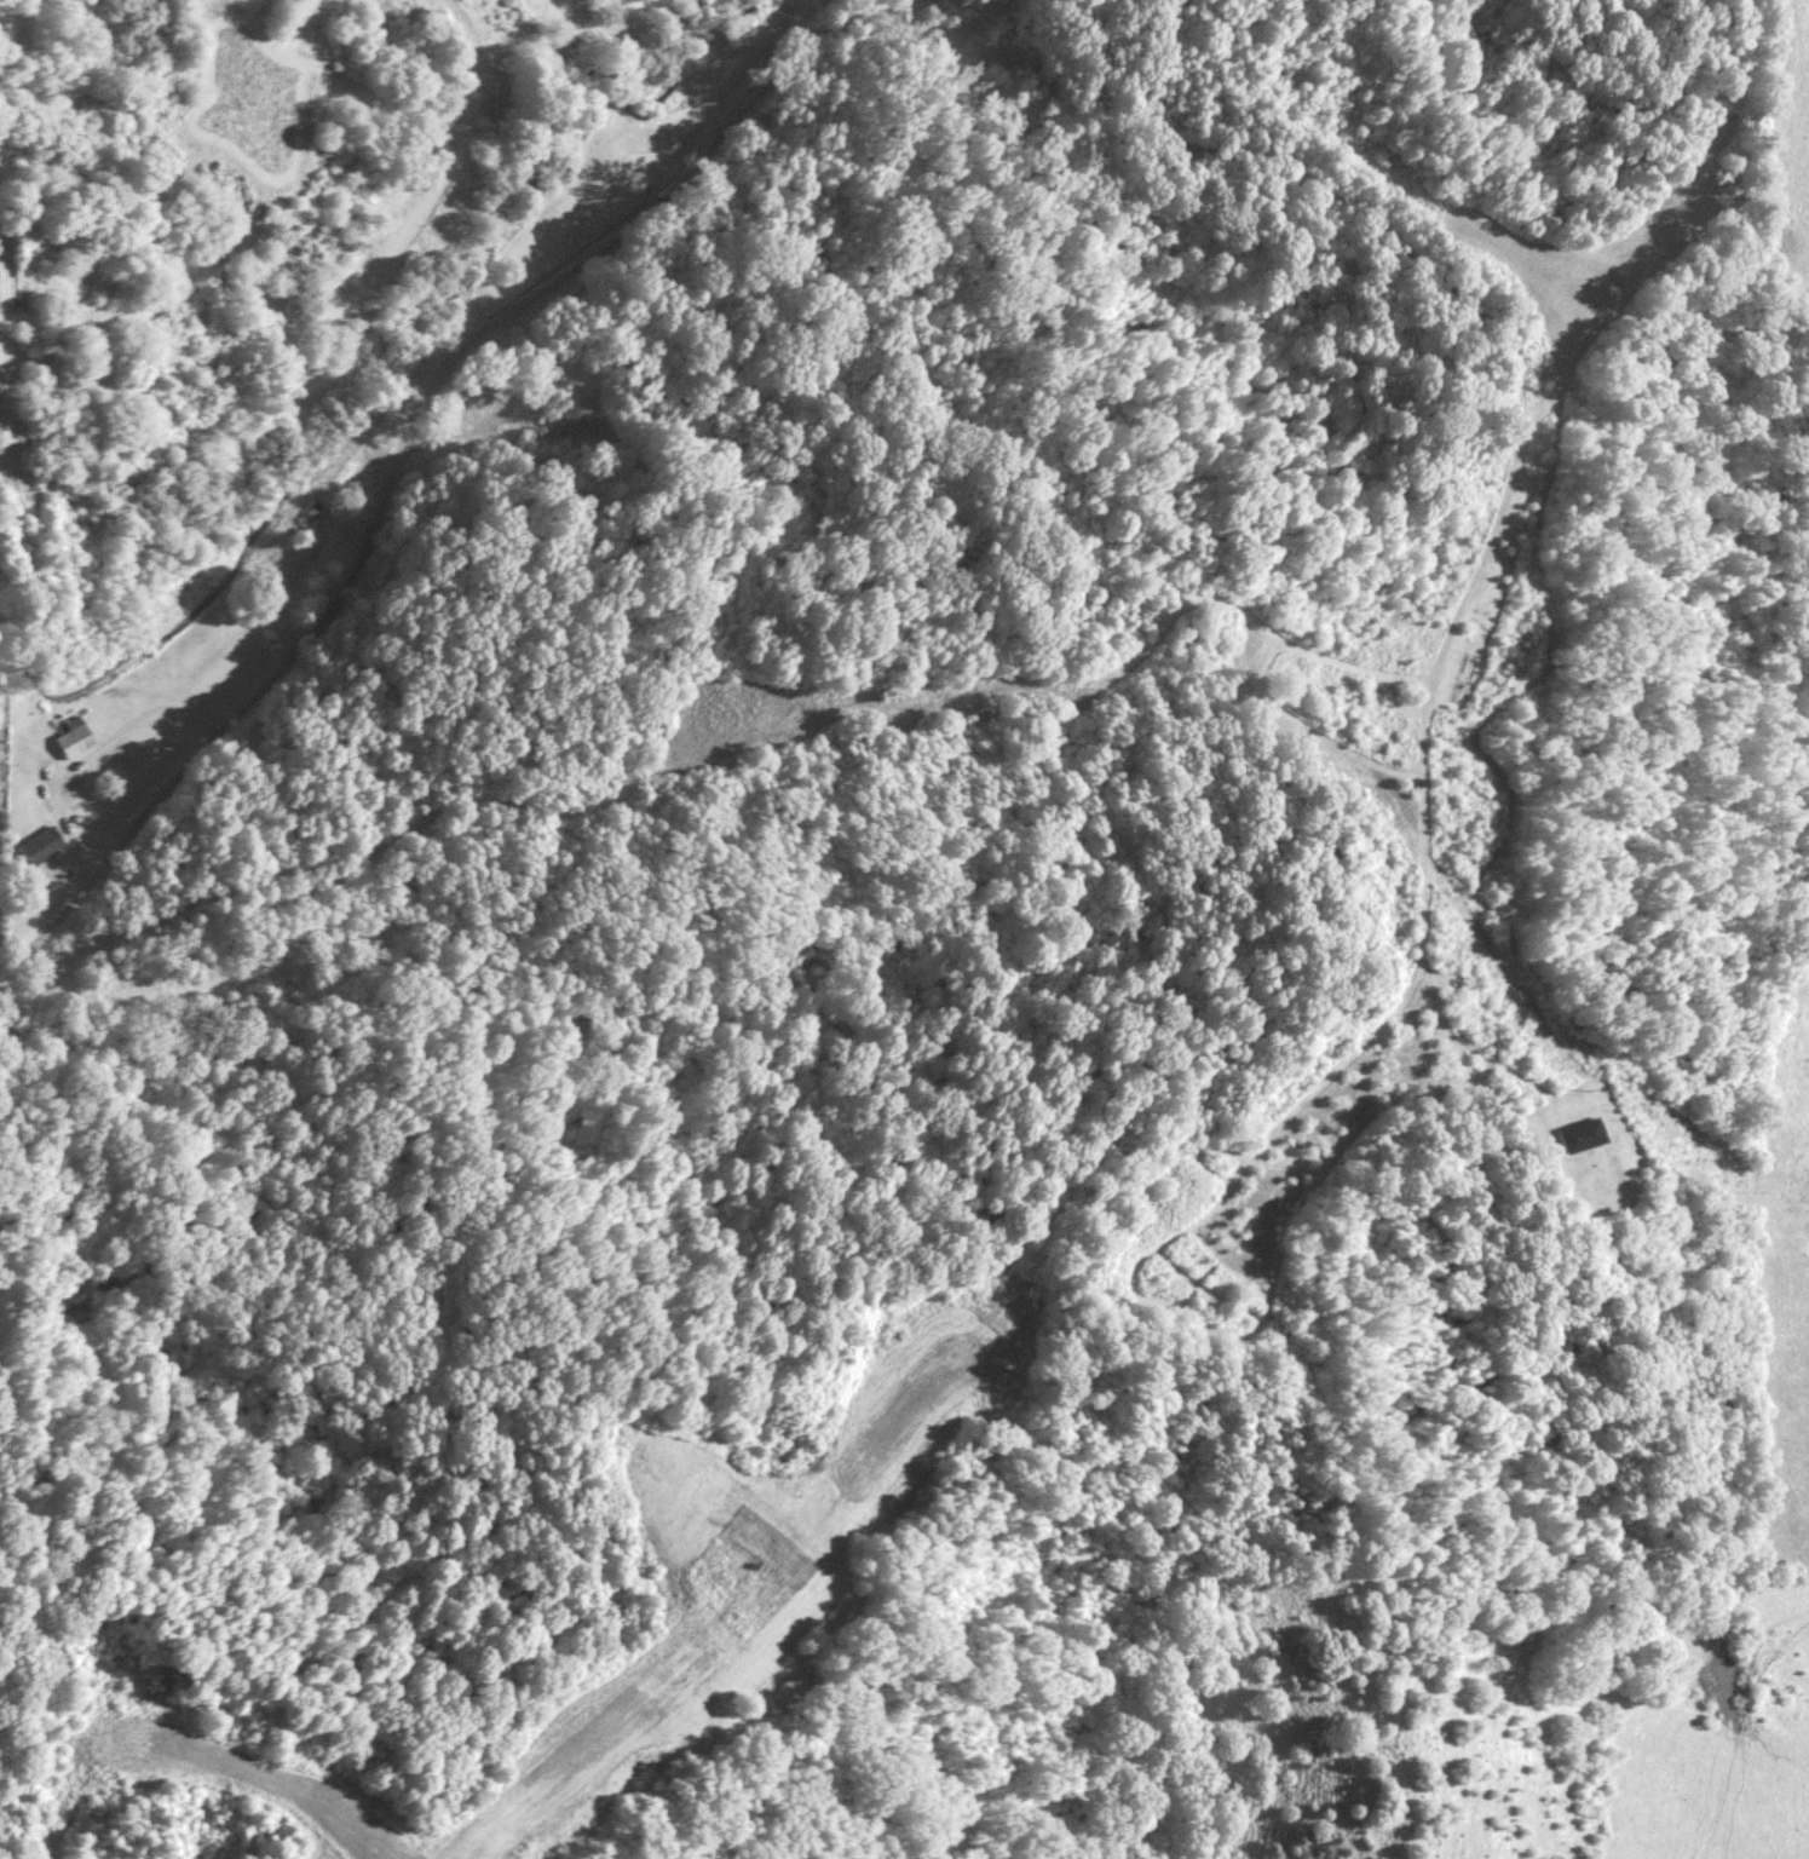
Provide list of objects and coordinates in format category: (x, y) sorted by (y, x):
road: (730, 92)
road: (1273, 357)
road: (403, 431)
building: (76, 737)
building: (45, 846)
building: (1584, 1133)

